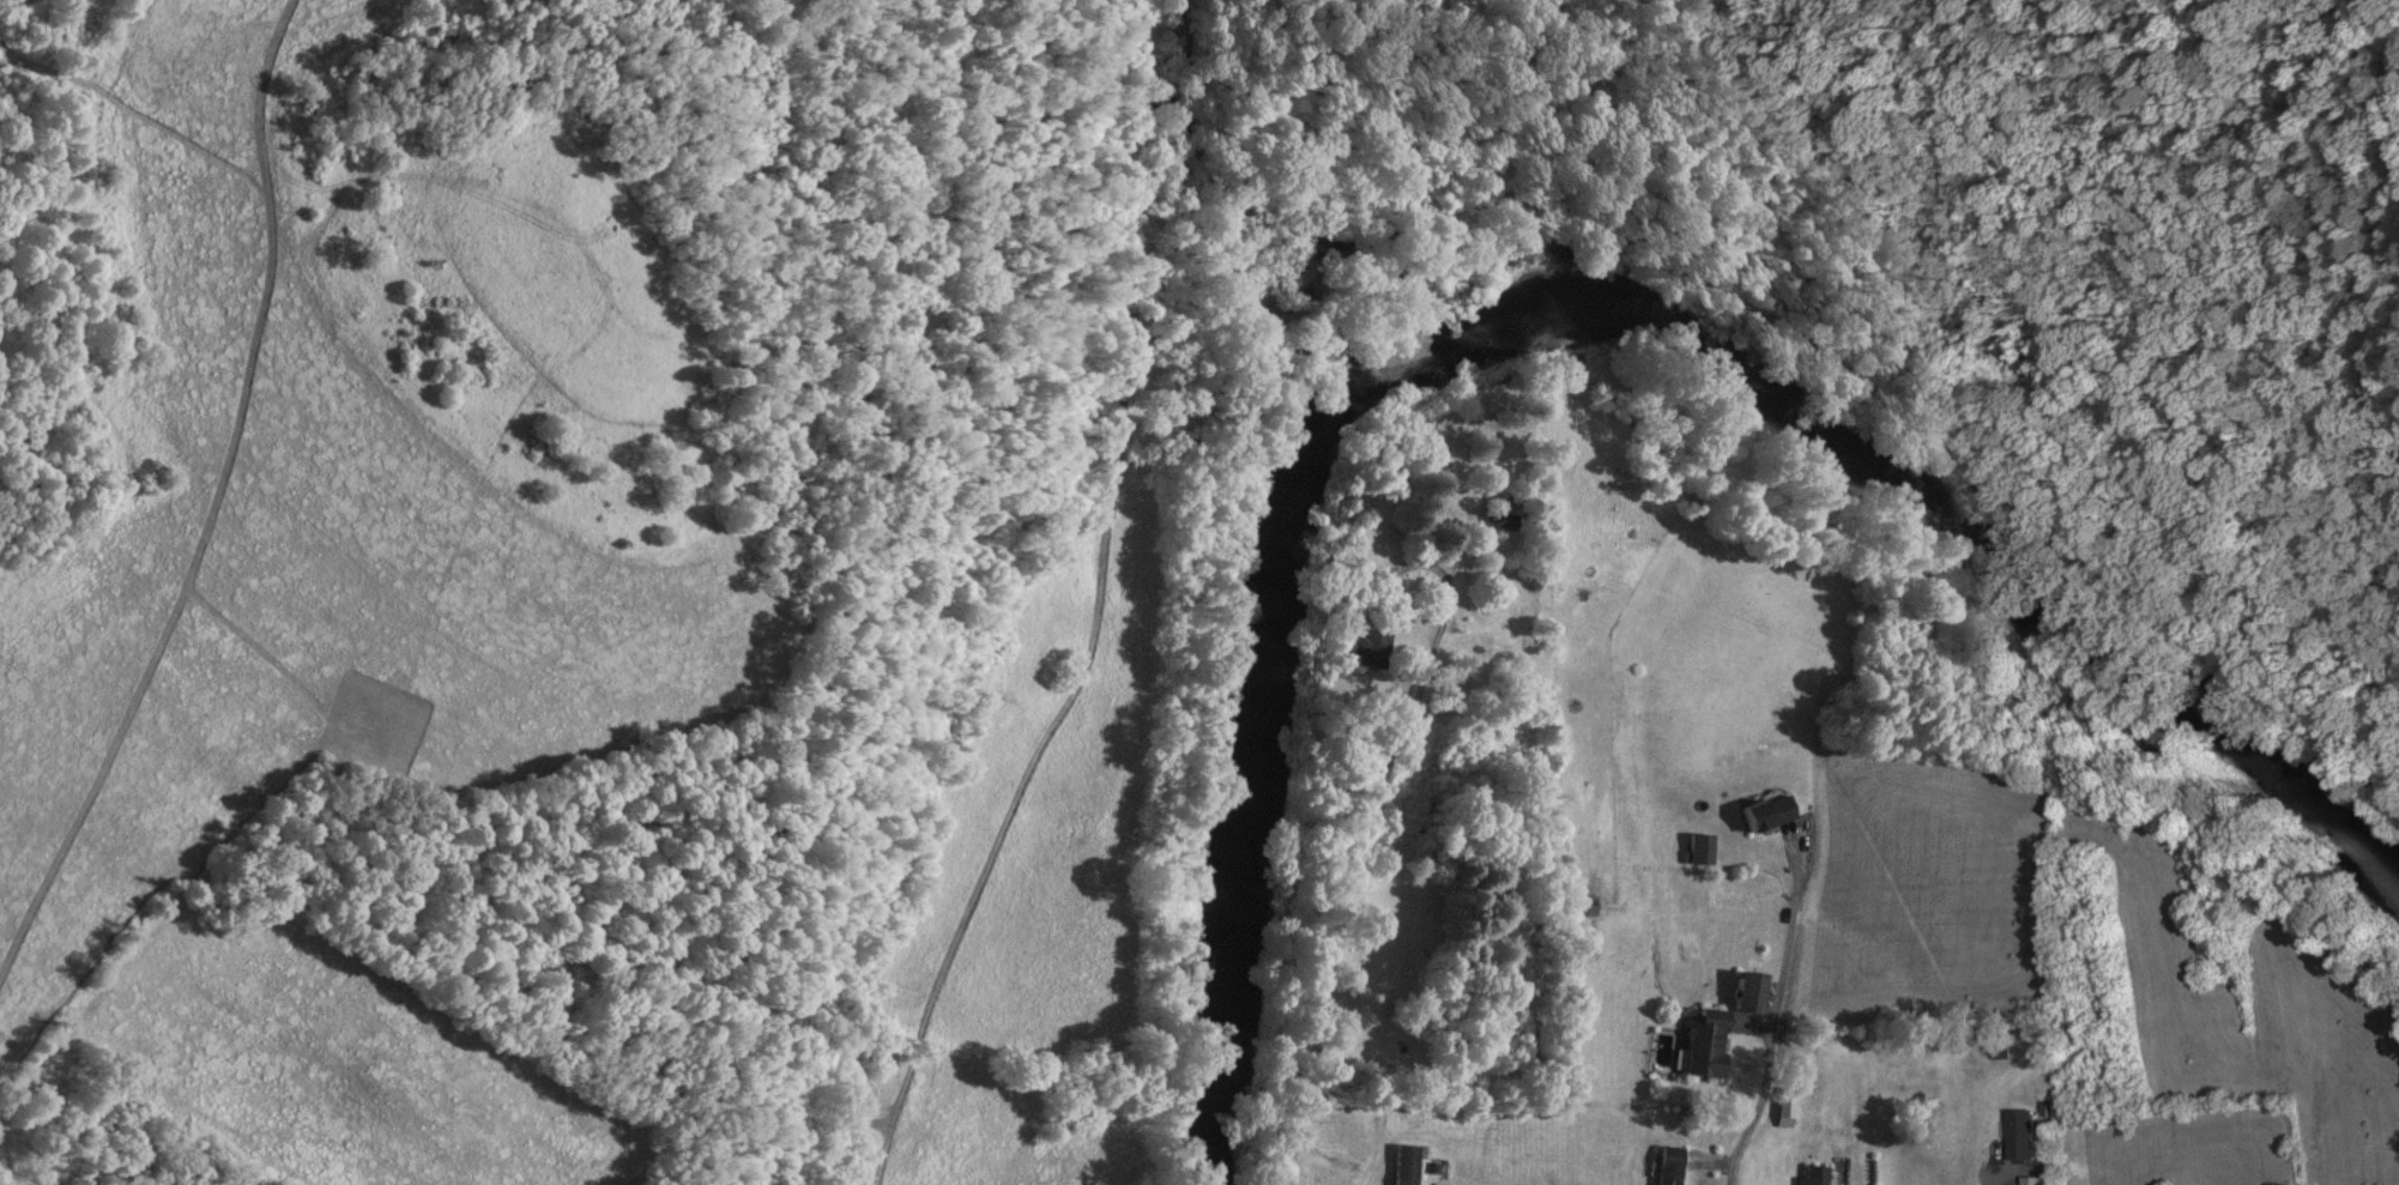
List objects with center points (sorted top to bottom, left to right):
park: (1986, 248)
river: (1553, 291)
road: (1773, 319)
building: (1507, 522)
road: (1087, 617)
building: (1770, 814)
road: (1775, 1017)
road: (1992, 1181)

